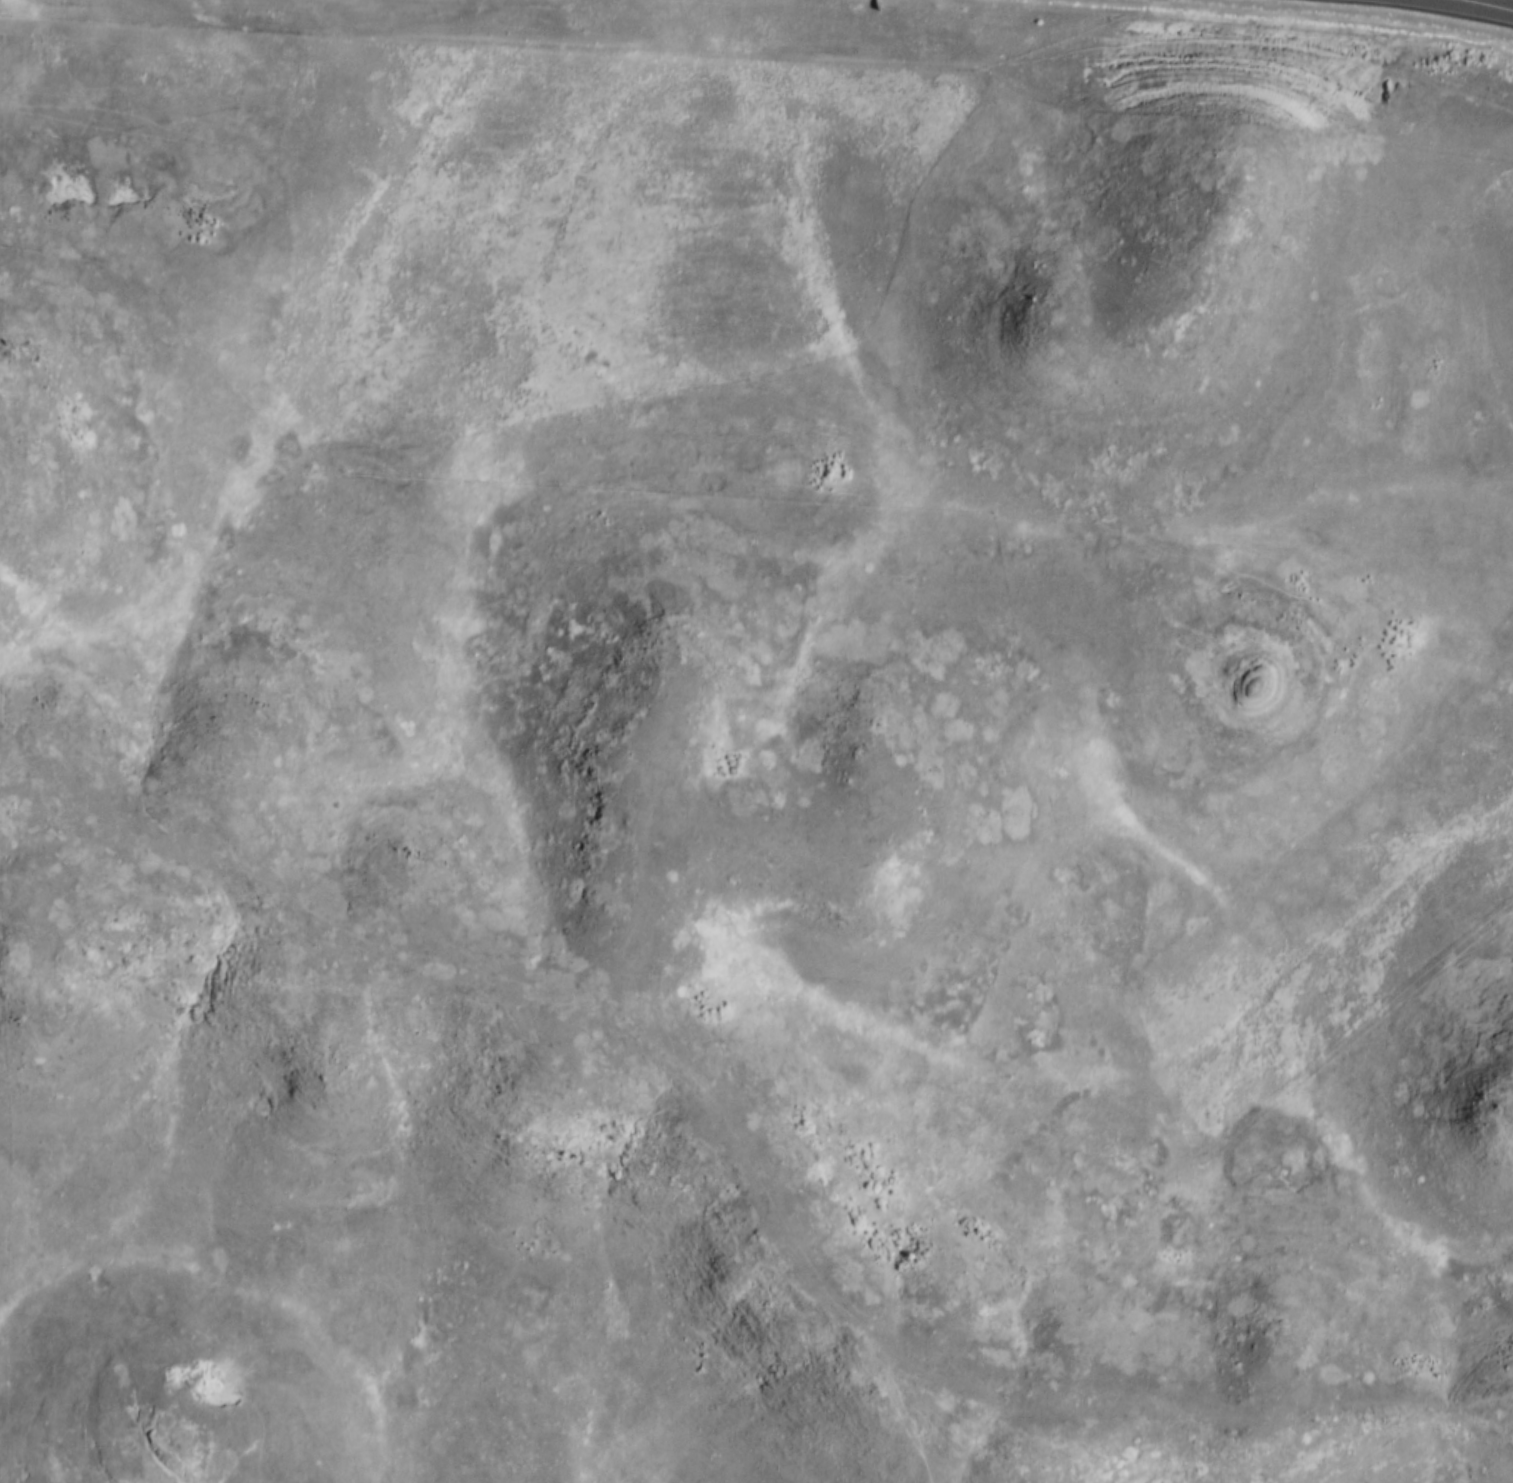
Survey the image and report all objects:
road: (1456, 11)

